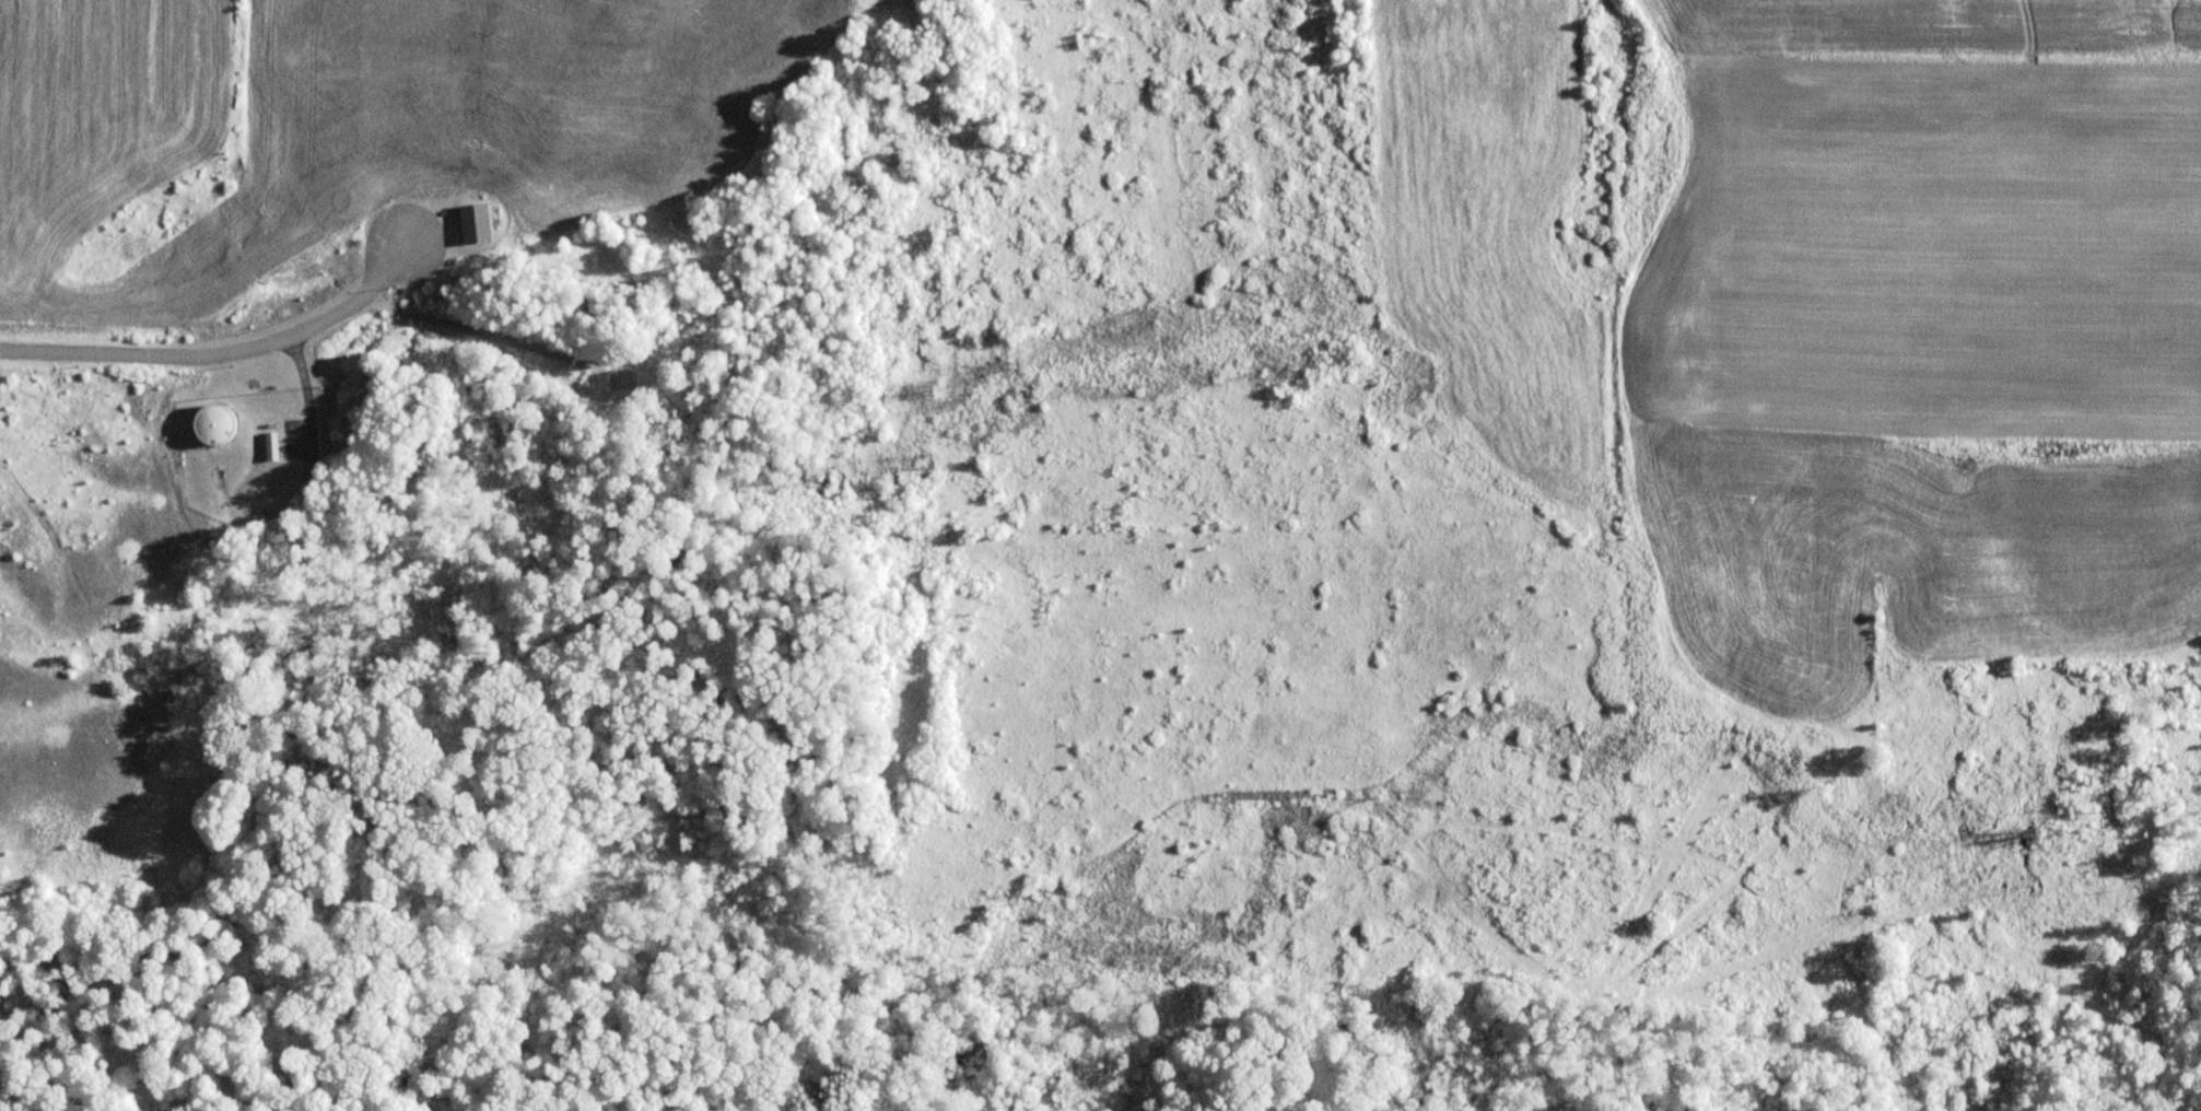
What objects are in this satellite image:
building: (470, 224)
airport: (1906, 365)
building: (218, 430)

